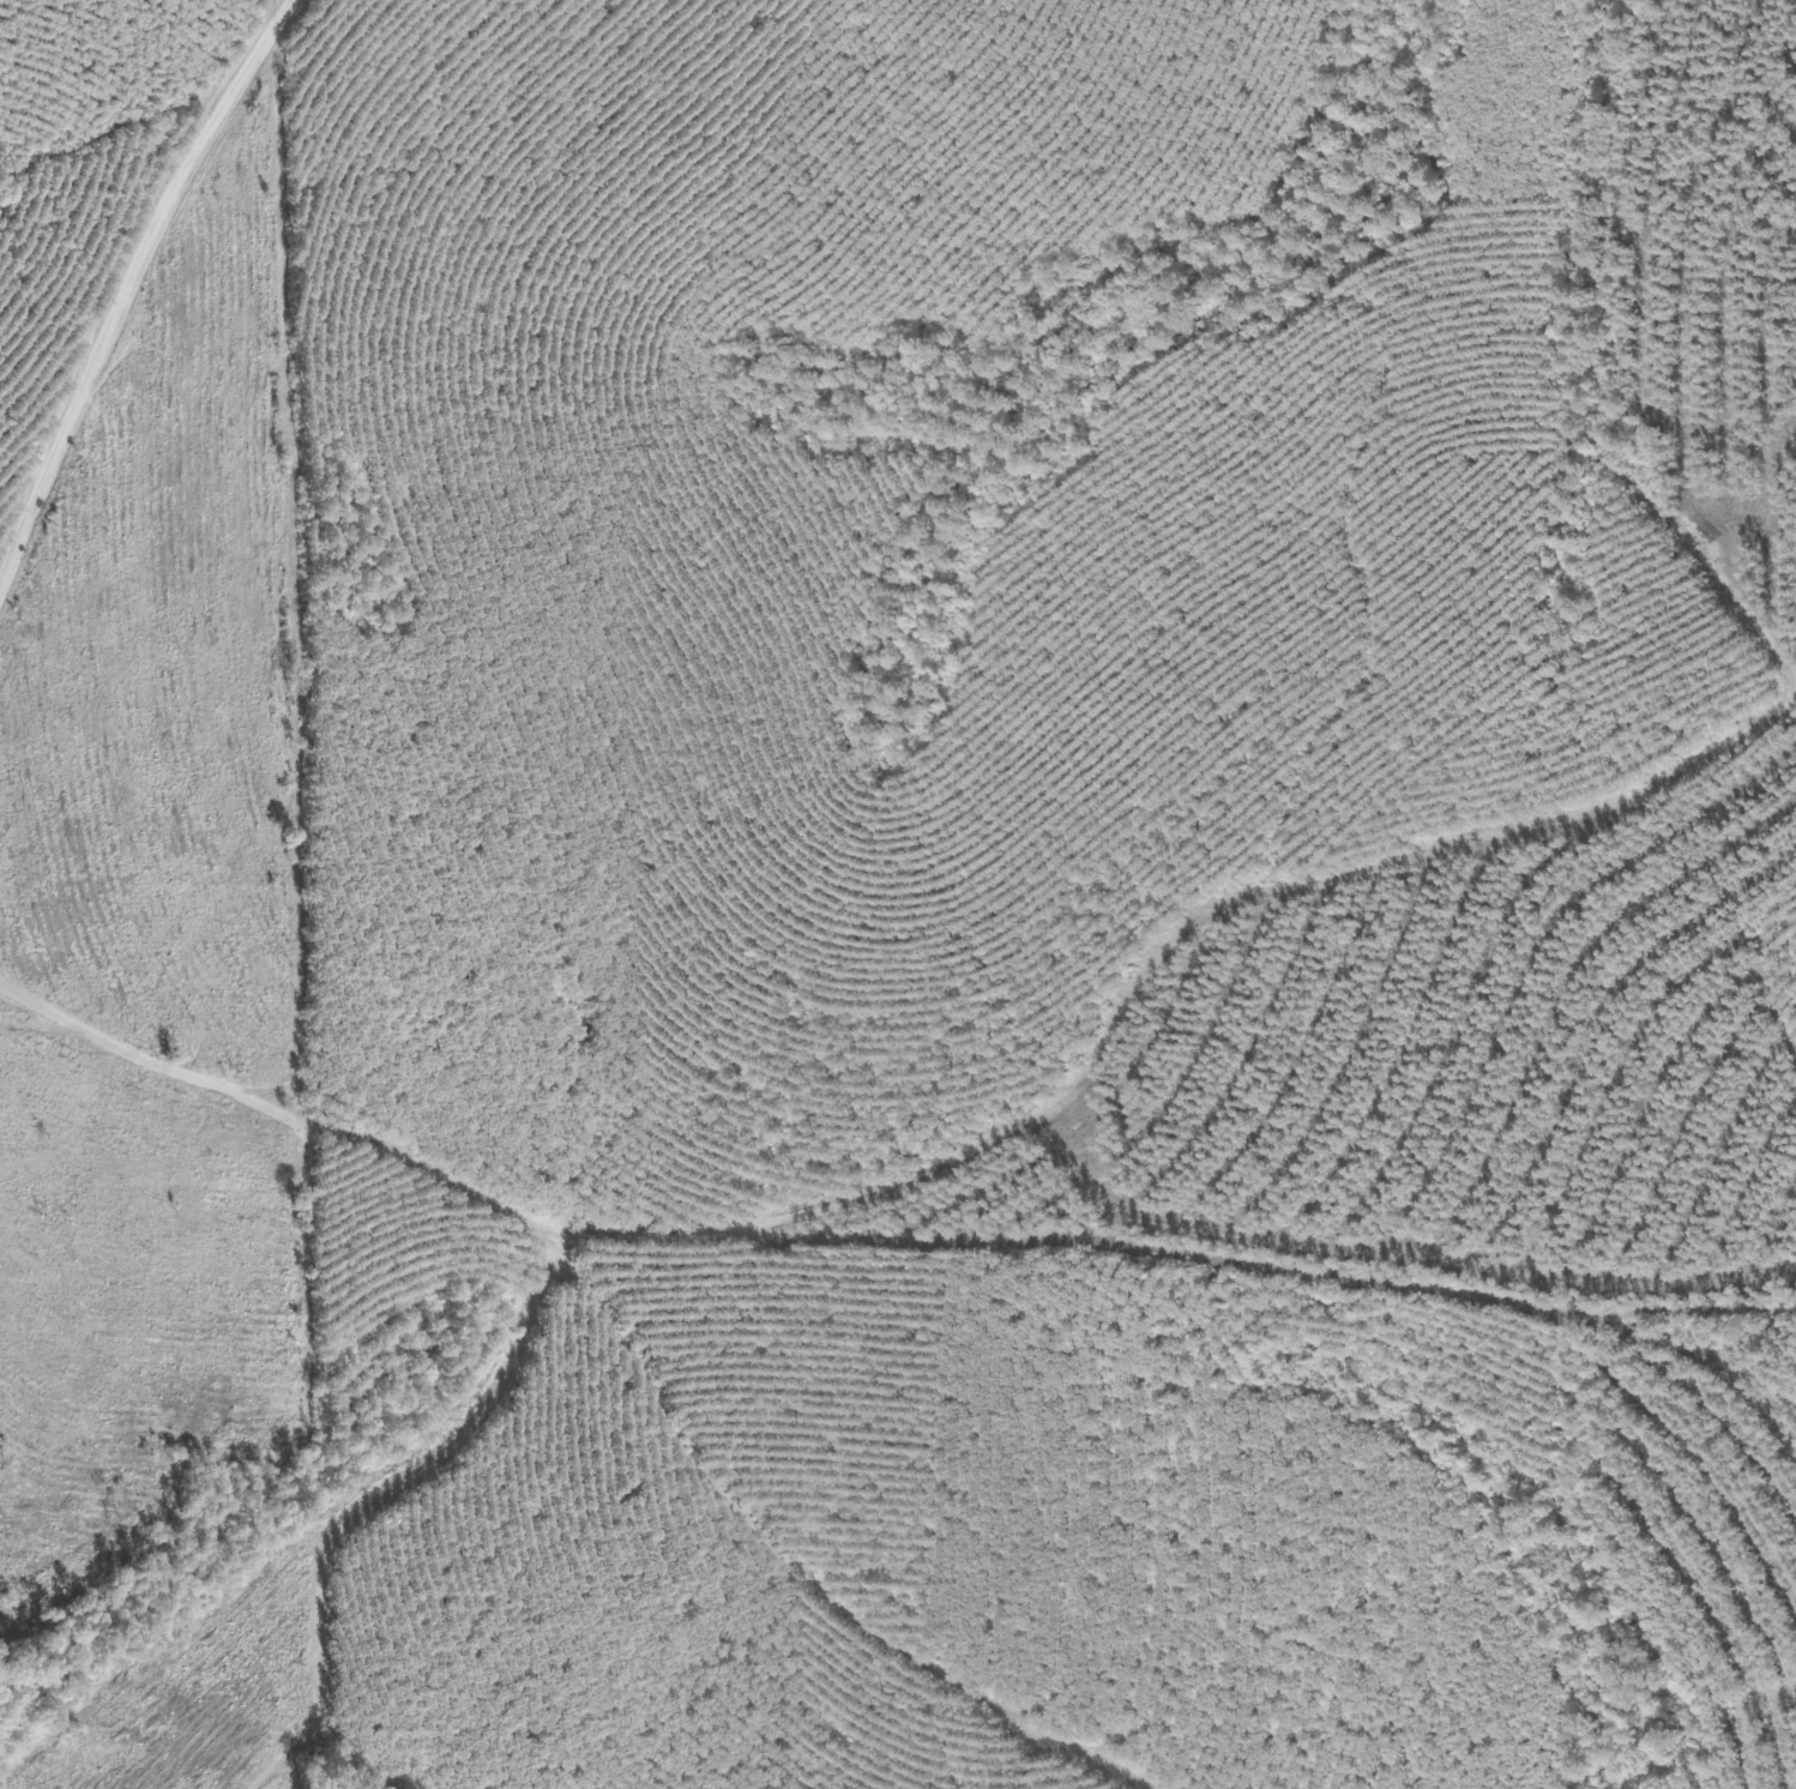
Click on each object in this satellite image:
road: (307, 6)
road: (1631, 361)
road: (704, 504)
road: (795, 1555)

